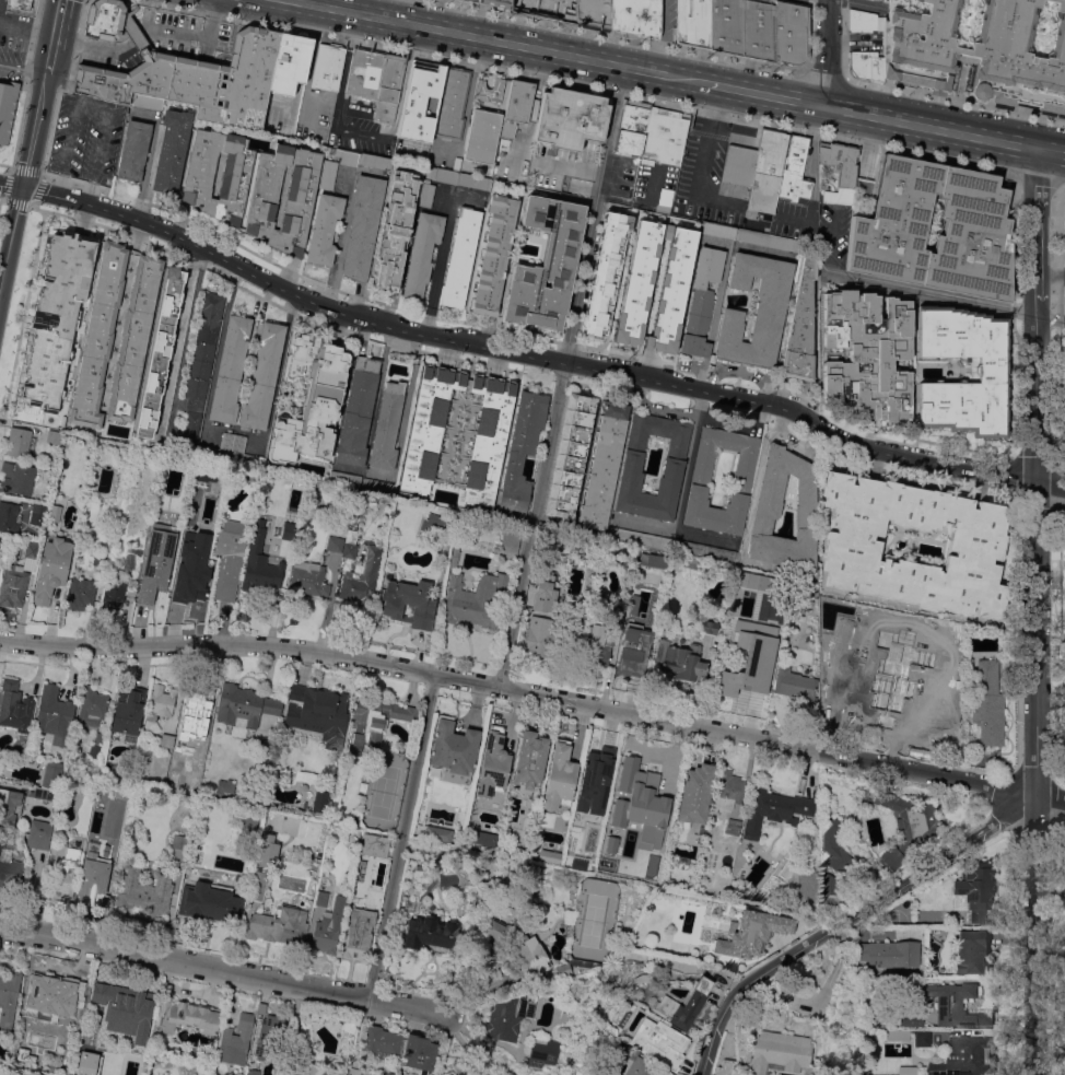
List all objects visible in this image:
building: (473, 0)
road: (866, 2)
building: (498, 3)
building: (17, 4)
road: (355, 5)
building: (548, 9)
road: (214, 10)
building: (594, 13)
building: (635, 16)
road: (57, 20)
building: (864, 20)
building: (691, 23)
building: (725, 25)
road: (27, 28)
road: (149, 28)
building: (757, 30)
building: (788, 32)
parking lot: (184, 33)
road: (465, 33)
road: (617, 36)
road: (810, 38)
road: (843, 38)
road: (846, 42)
road: (63, 44)
road: (313, 45)
building: (975, 47)
road: (347, 51)
parking lot: (106, 52)
road: (827, 52)
road: (49, 57)
building: (290, 62)
building: (866, 66)
road: (23, 67)
building: (327, 67)
road: (644, 69)
building: (183, 72)
road: (821, 74)
road: (684, 78)
building: (376, 79)
road: (580, 85)
road: (469, 89)
building: (490, 90)
road: (762, 93)
road: (534, 96)
road: (955, 100)
building: (421, 101)
road: (94, 104)
building: (452, 105)
building: (5, 106)
building: (517, 106)
road: (714, 107)
building: (1051, 107)
building: (570, 118)
parking lot: (328, 120)
road: (929, 127)
road: (341, 131)
building: (652, 132)
building: (482, 136)
parking lot: (85, 139)
building: (504, 144)
building: (133, 151)
building: (172, 151)
parking lot: (431, 152)
road: (1052, 152)
building: (347, 156)
road: (149, 159)
building: (375, 161)
road: (702, 166)
parking lot: (543, 168)
road: (561, 168)
building: (757, 168)
building: (795, 171)
building: (840, 171)
building: (328, 174)
road: (598, 175)
parking lot: (690, 176)
road: (1038, 177)
building: (457, 178)
road: (23, 180)
road: (1063, 184)
traffic signals: (22, 187)
building: (254, 187)
building: (425, 192)
road: (594, 213)
building: (667, 218)
parking lot: (1064, 225)
building: (363, 226)
parking lot: (812, 226)
building: (887, 226)
building: (325, 227)
building: (718, 230)
building: (395, 231)
road: (338, 238)
building: (768, 239)
building: (636, 243)
road: (715, 245)
building: (422, 253)
building: (494, 253)
building: (690, 254)
building: (460, 258)
building: (546, 265)
road: (437, 266)
building: (606, 272)
road: (1050, 277)
building: (1064, 295)
road: (944, 296)
building: (702, 301)
building: (633, 303)
building: (770, 309)
building: (669, 311)
building: (56, 317)
building: (209, 317)
road: (714, 319)
building: (800, 326)
road: (177, 332)
building: (94, 338)
building: (132, 338)
building: (202, 350)
building: (159, 351)
building: (867, 353)
road: (526, 355)
building: (199, 369)
building: (230, 370)
road: (740, 373)
building: (991, 373)
building: (261, 376)
road: (376, 384)
building: (195, 388)
building: (311, 399)
road: (656, 406)
building: (613, 410)
building: (358, 411)
road: (739, 424)
building: (386, 425)
building: (191, 427)
road: (781, 434)
building: (488, 439)
building: (17, 441)
building: (232, 442)
building: (520, 449)
building: (569, 456)
building: (675, 458)
road: (687, 460)
road: (1034, 471)
building: (601, 472)
building: (700, 475)
building: (16, 477)
building: (765, 510)
building: (34, 515)
building: (8, 516)
building: (429, 527)
road: (530, 527)
building: (288, 531)
road: (674, 531)
building: (507, 542)
building: (332, 544)
building: (852, 545)
building: (705, 549)
building: (26, 551)
building: (347, 551)
building: (226, 557)
building: (452, 557)
building: (651, 560)
building: (156, 561)
building: (127, 562)
building: (191, 565)
building: (259, 565)
building: (51, 569)
building: (1064, 569)
building: (305, 579)
building: (356, 579)
building: (12, 585)
building: (112, 588)
building: (78, 594)
building: (406, 603)
building: (475, 603)
building: (542, 605)
building: (629, 618)
building: (704, 628)
building: (538, 638)
building: (636, 641)
building: (597, 643)
road: (182, 646)
building: (756, 661)
building: (682, 664)
road: (399, 670)
building: (984, 678)
building: (789, 682)
road: (466, 685)
building: (737, 686)
building: (936, 699)
building: (160, 702)
building: (871, 702)
building: (245, 704)
building: (14, 705)
building: (194, 708)
building: (91, 709)
building: (128, 709)
building: (402, 712)
building: (318, 713)
building: (55, 714)
building: (368, 718)
building: (988, 722)
building: (385, 724)
building: (97, 737)
building: (166, 739)
building: (200, 745)
road: (781, 746)
building: (454, 749)
building: (94, 750)
building: (529, 760)
building: (493, 764)
building: (596, 772)
building: (560, 776)
building: (140, 780)
building: (49, 781)
building: (73, 781)
building: (225, 785)
building: (645, 786)
building: (121, 790)
building: (728, 790)
building: (695, 792)
building: (143, 795)
building: (318, 801)
building: (8, 805)
building: (774, 810)
building: (342, 817)
building: (352, 819)
building: (733, 827)
building: (906, 827)
building: (437, 833)
building: (38, 834)
road: (402, 840)
building: (179, 841)
building: (375, 844)
building: (834, 845)
building: (433, 852)
building: (549, 856)
building: (262, 866)
building: (9, 869)
building: (359, 869)
building: (63, 877)
building: (93, 879)
building: (828, 884)
building: (975, 889)
building: (144, 892)
building: (321, 898)
building: (212, 902)
road: (1038, 902)
road: (850, 918)
building: (279, 925)
building: (328, 927)
building: (753, 932)
building: (358, 933)
building: (430, 934)
building: (519, 949)
building: (972, 953)
building: (888, 954)
building: (580, 962)
building: (563, 970)
road: (223, 973)
building: (50, 996)
building: (8, 997)
building: (956, 1004)
building: (682, 1005)
building: (125, 1008)
building: (184, 1016)
building: (508, 1017)
building: (898, 1035)
building: (270, 1038)
building: (922, 1038)
building: (235, 1040)
building: (658, 1041)
building: (381, 1042)
road: (1038, 1042)
building: (541, 1049)
building: (779, 1052)
building: (419, 1053)
building: (967, 1058)
building: (90, 1061)
building: (637, 1064)
building: (726, 1067)
building: (253, 1072)
building: (332, 1072)
building: (470, 1072)
building: (447, 1074)

